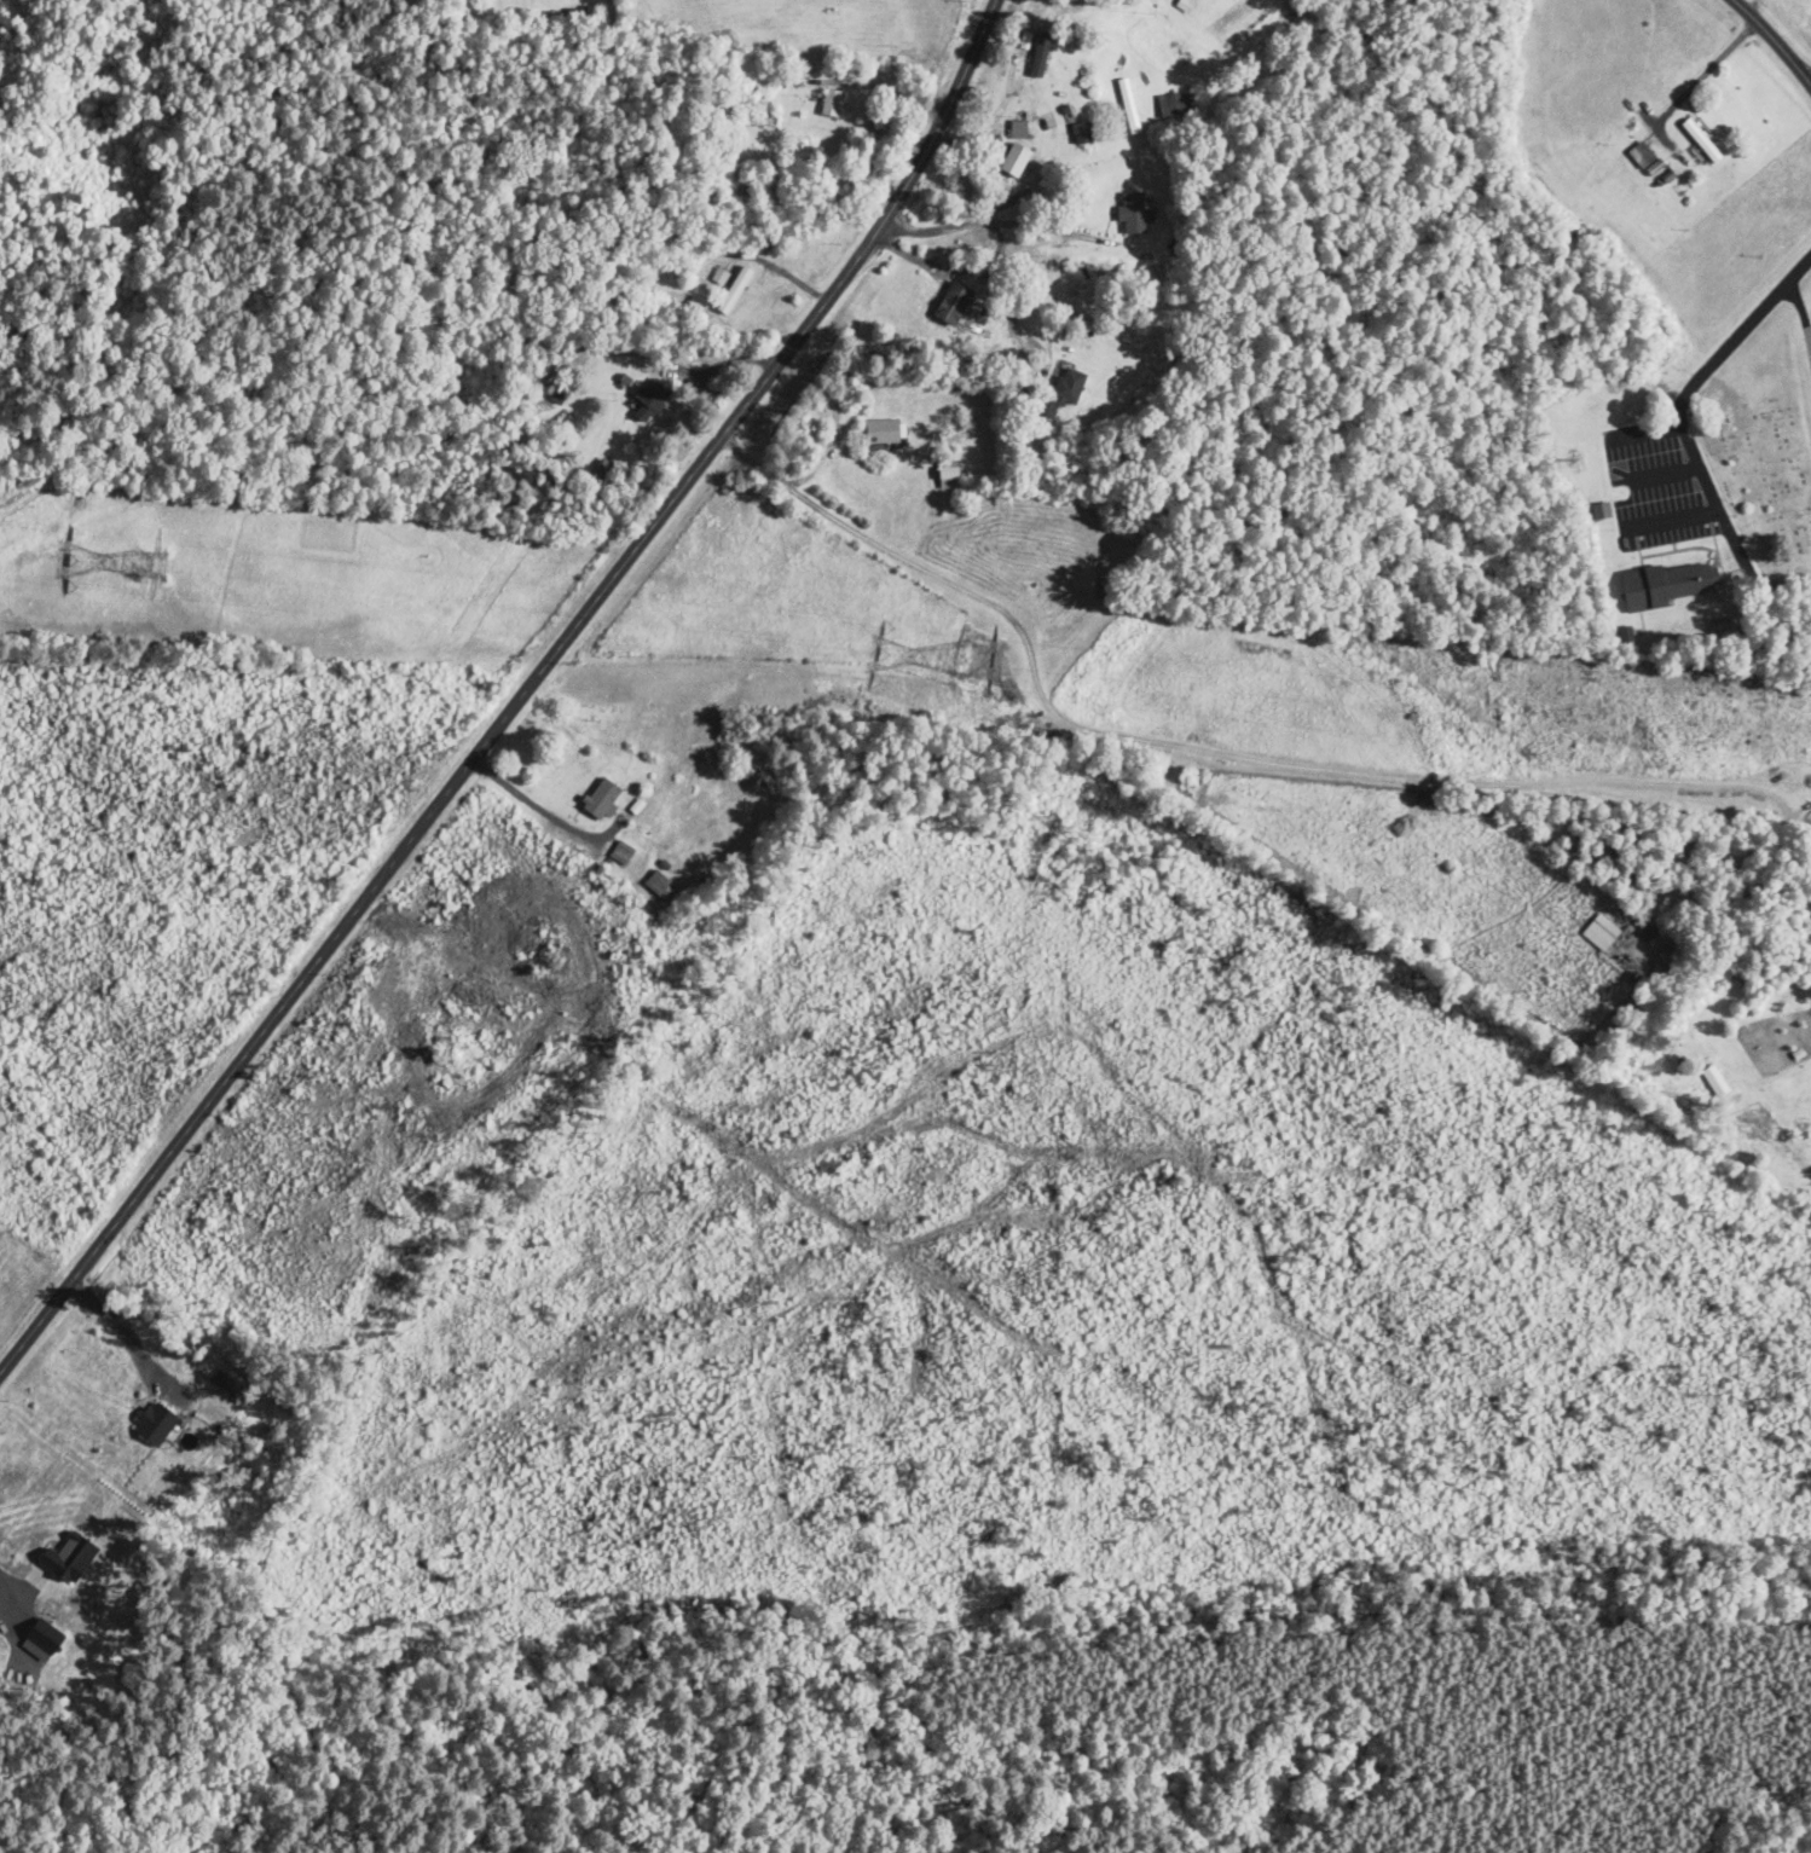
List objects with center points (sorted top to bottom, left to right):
road: (1752, 7)
road: (1772, 41)
building: (1037, 58)
road: (1705, 69)
road: (1011, 91)
building: (1017, 129)
building: (1078, 132)
building: (1699, 139)
building: (1639, 154)
building: (1012, 160)
building: (1132, 212)
road: (1042, 227)
road: (991, 237)
building: (731, 289)
building: (941, 307)
road: (1801, 314)
road: (677, 369)
building: (1061, 390)
building: (649, 400)
road: (837, 421)
road: (1644, 429)
road: (1682, 429)
building: (883, 430)
road: (1662, 473)
building: (1599, 510)
road: (1671, 517)
power tower: (151, 563)
building: (1664, 584)
power tower: (973, 660)
road: (519, 699)
road: (1296, 764)
building: (600, 798)
road: (540, 809)
building: (619, 851)
building: (659, 885)
building: (1599, 931)
building: (1713, 1078)
road: (129, 1339)
building: (152, 1421)
building: (64, 1558)
road: (6, 1603)
building: (39, 1638)

